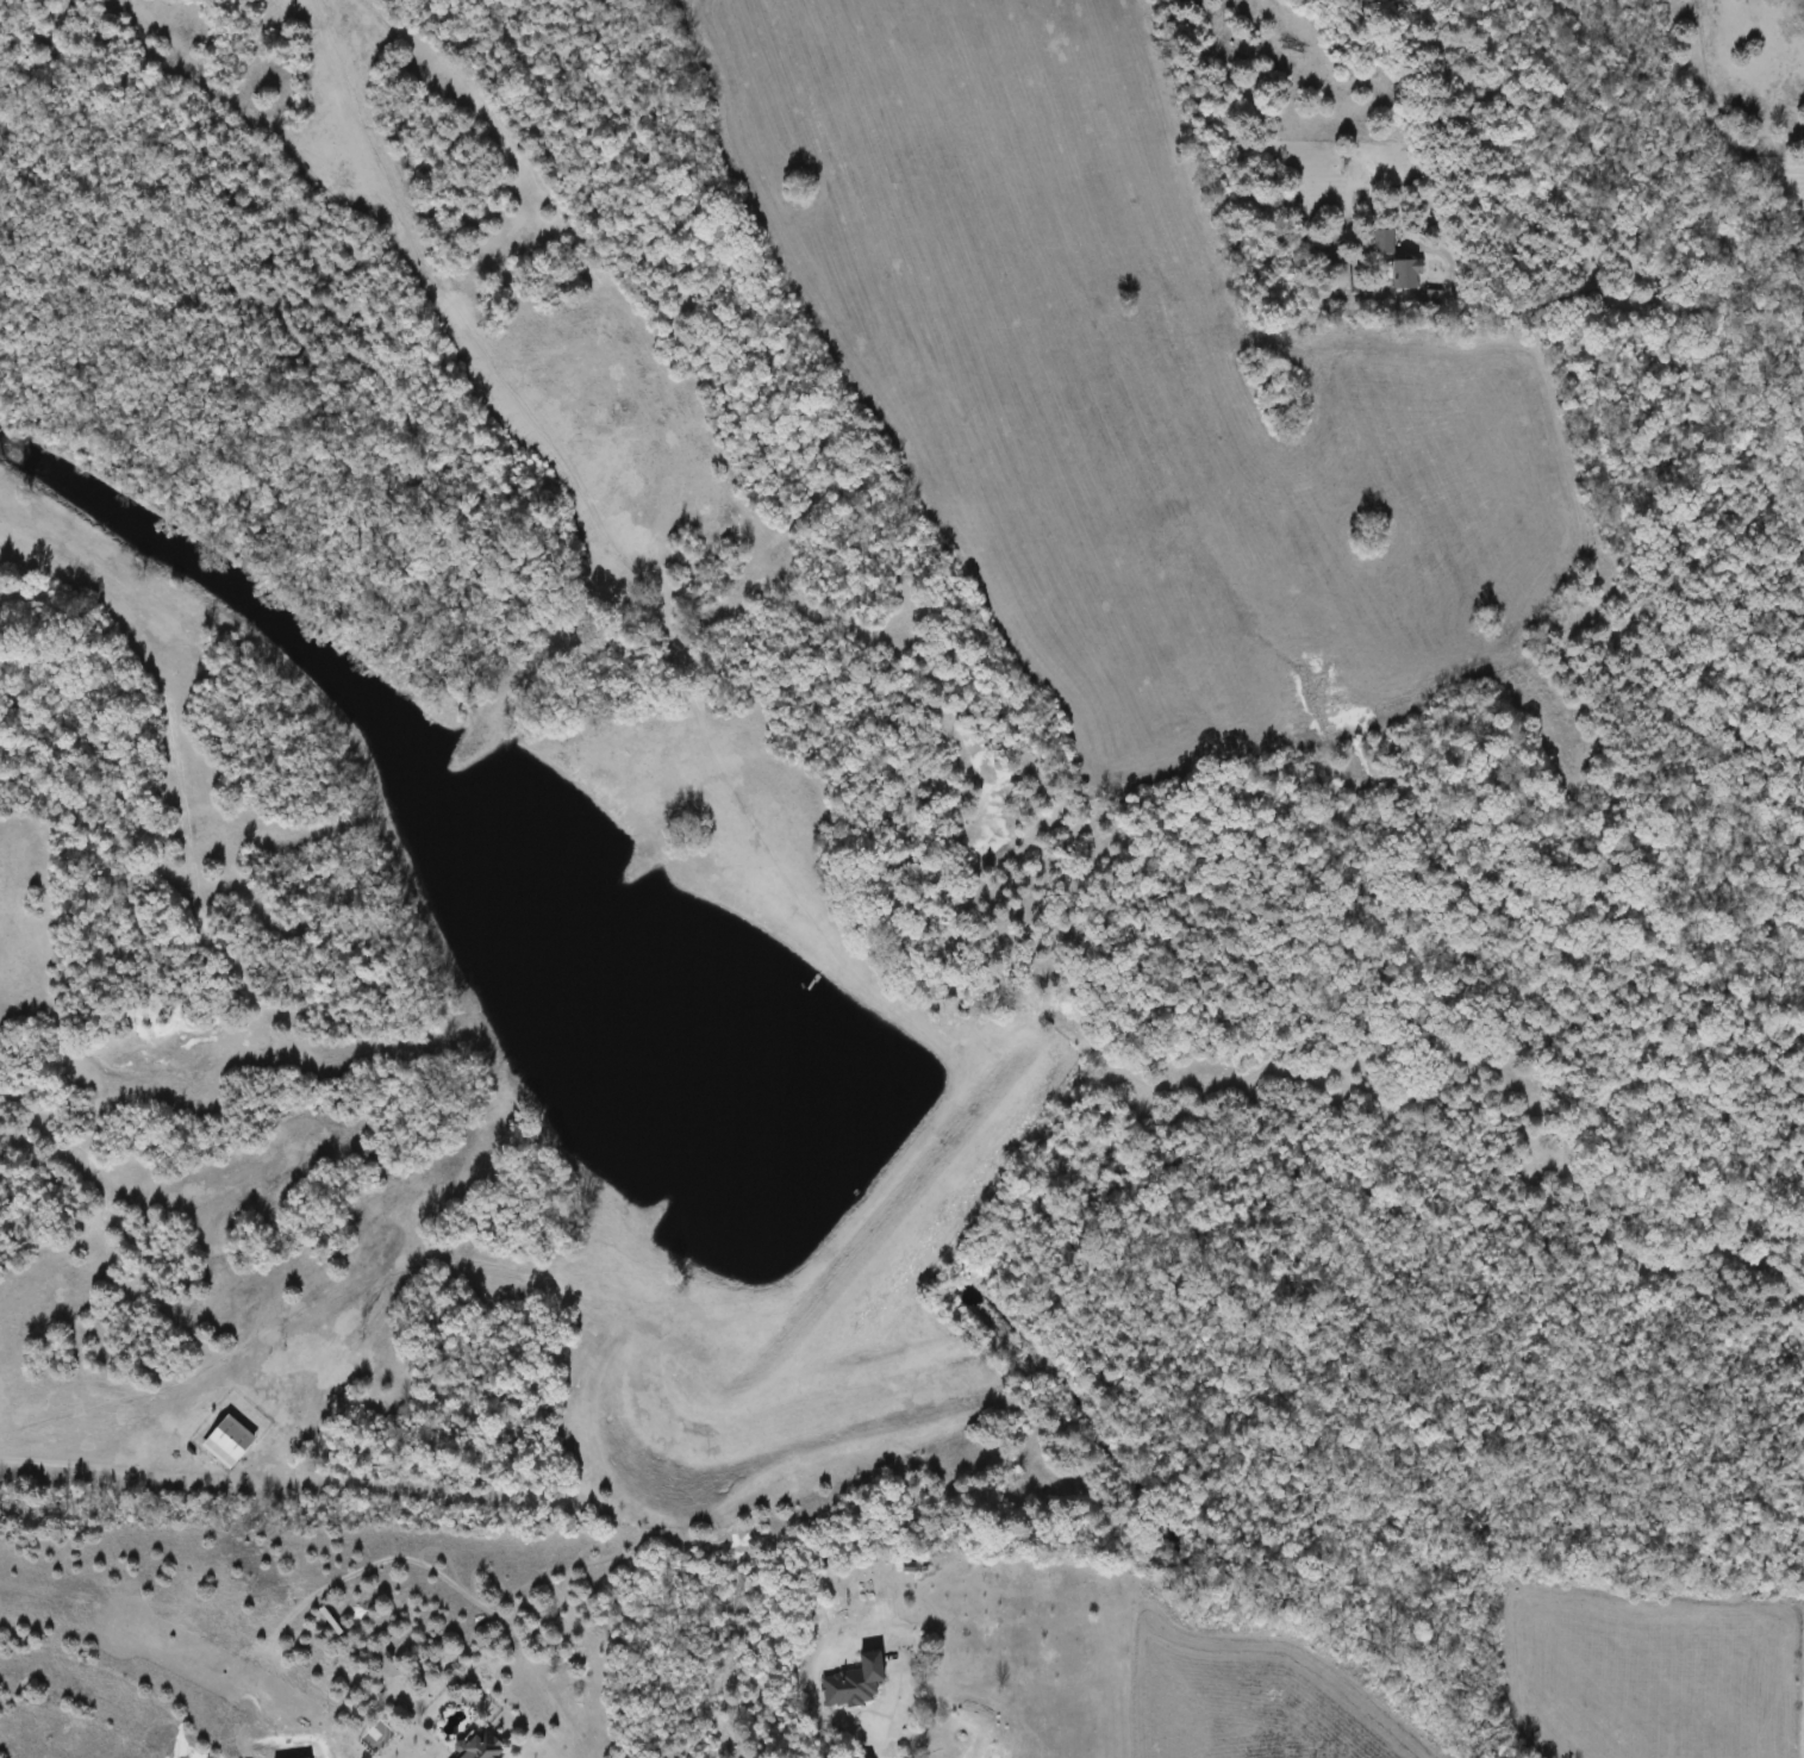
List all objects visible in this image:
building: (1385, 243)
building: (1409, 275)
road: (1617, 300)
building: (232, 1444)
building: (857, 1683)
road: (888, 1719)
building: (487, 1747)

